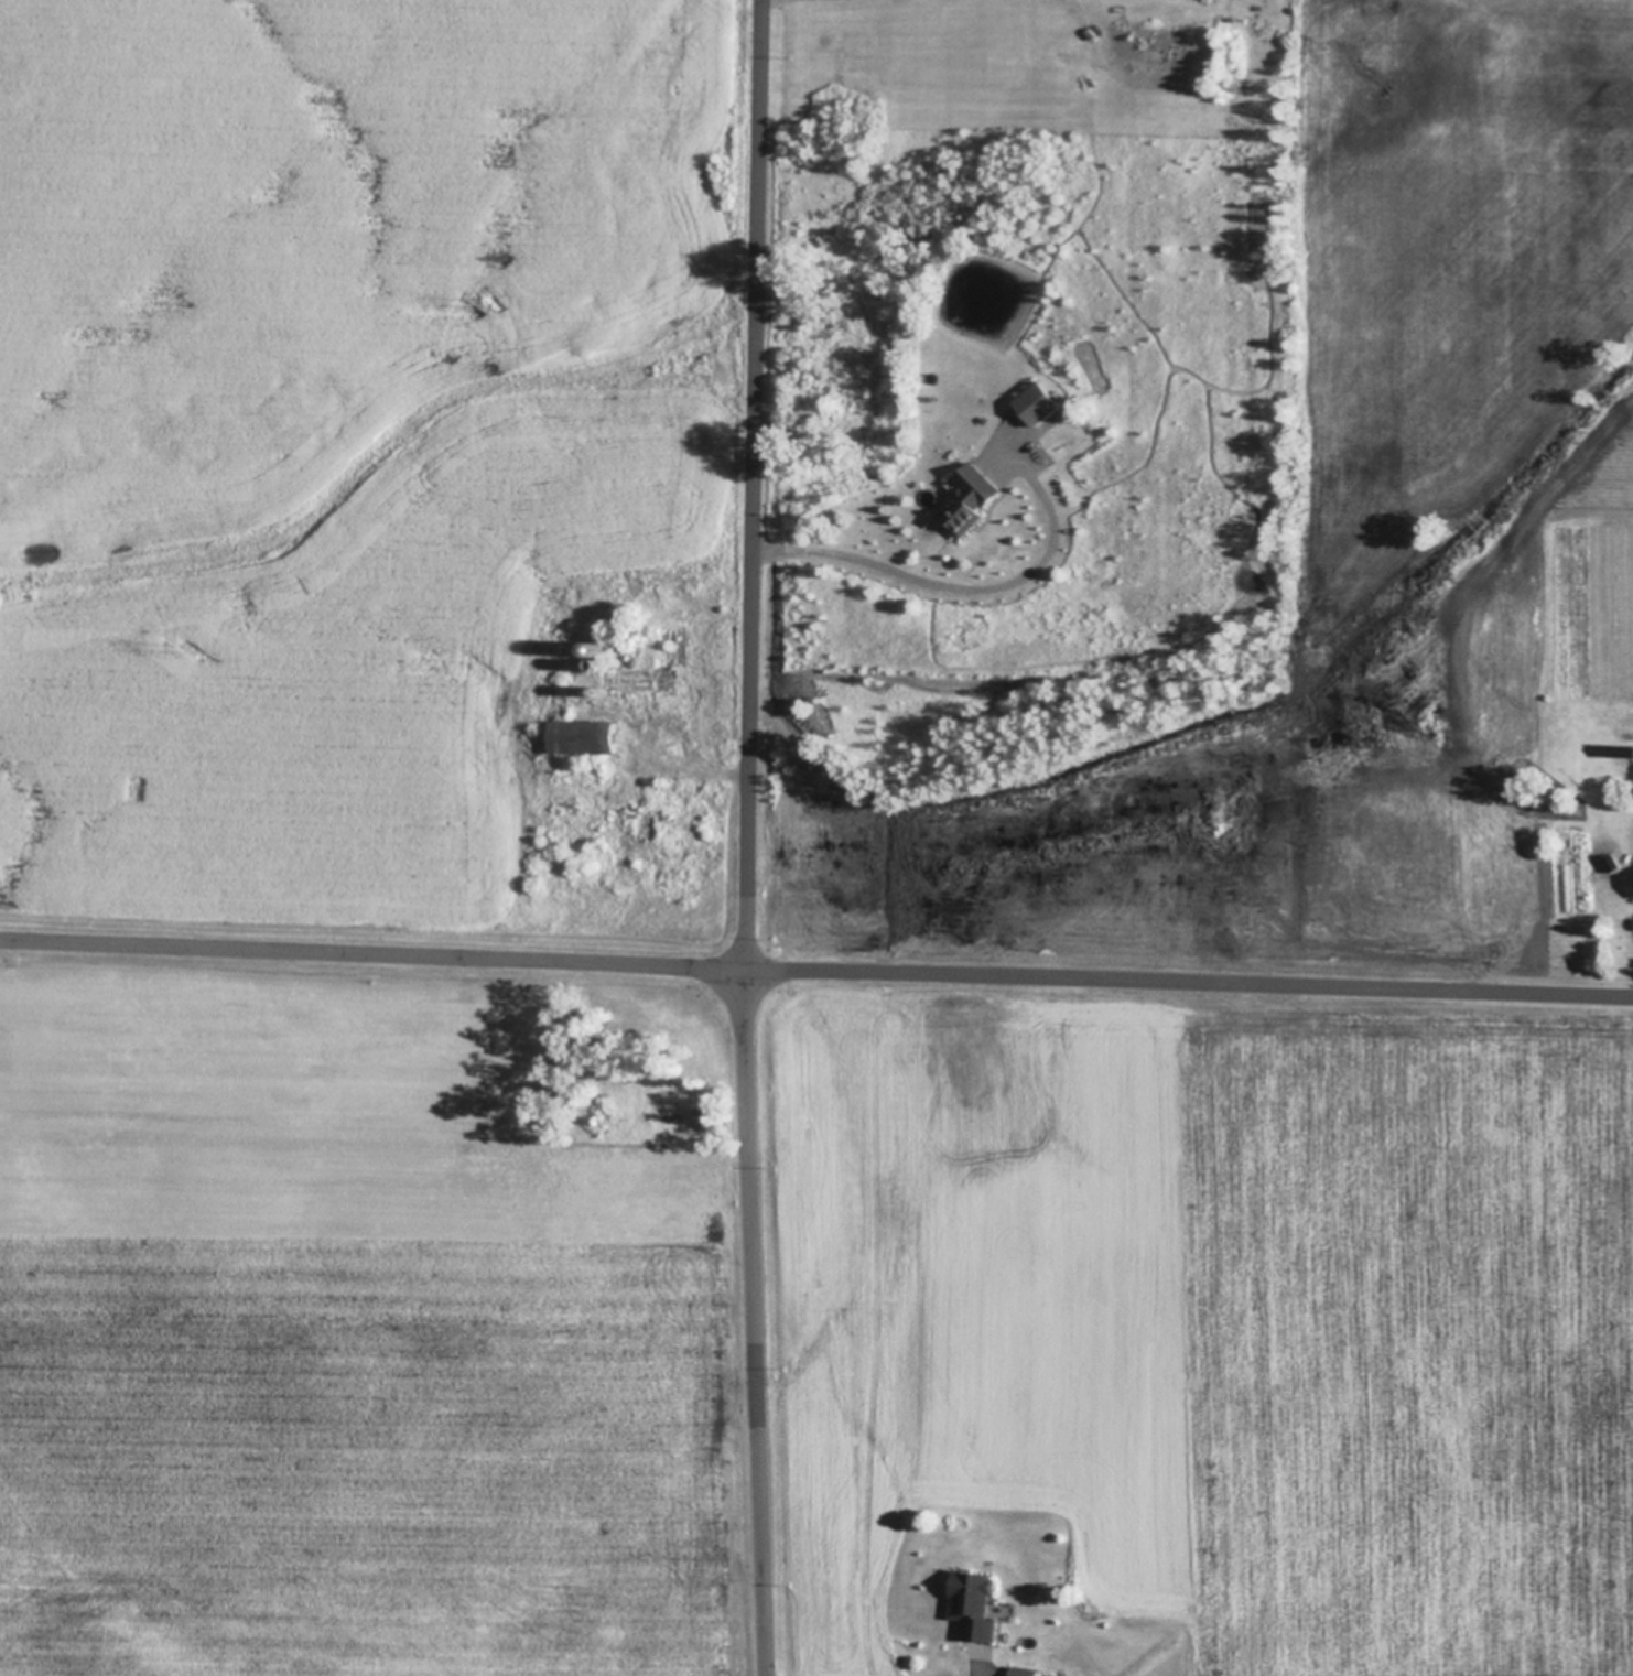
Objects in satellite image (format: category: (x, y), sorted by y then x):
power tower: (490, 304)
building: (1045, 402)
building: (976, 498)
building: (609, 647)
power tower: (193, 652)
building: (606, 663)
building: (607, 691)
building: (567, 710)
building: (587, 736)
road: (750, 837)
building: (1614, 863)
building: (1631, 877)
road: (815, 971)
building: (977, 1607)
building: (1025, 1670)

